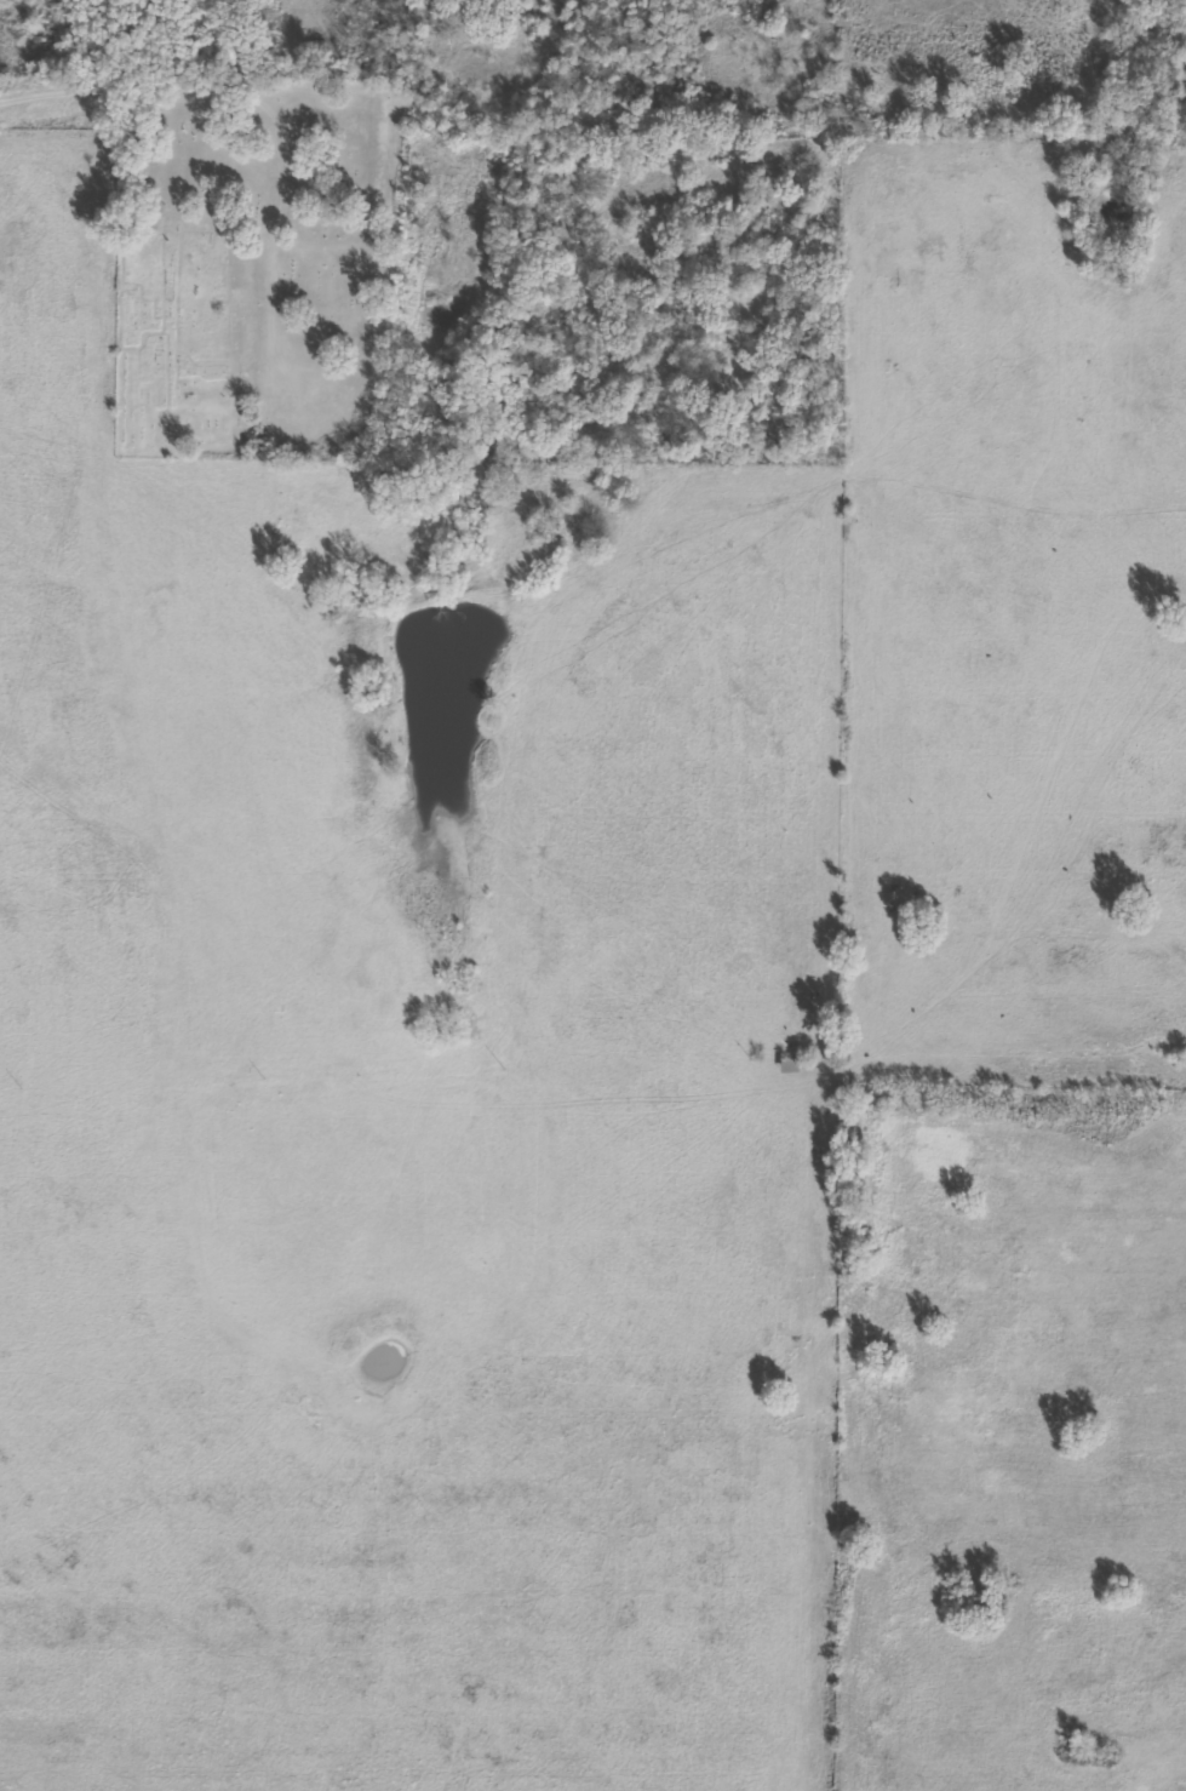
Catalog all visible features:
road: (38, 95)
park: (257, 256)
building: (790, 1065)

